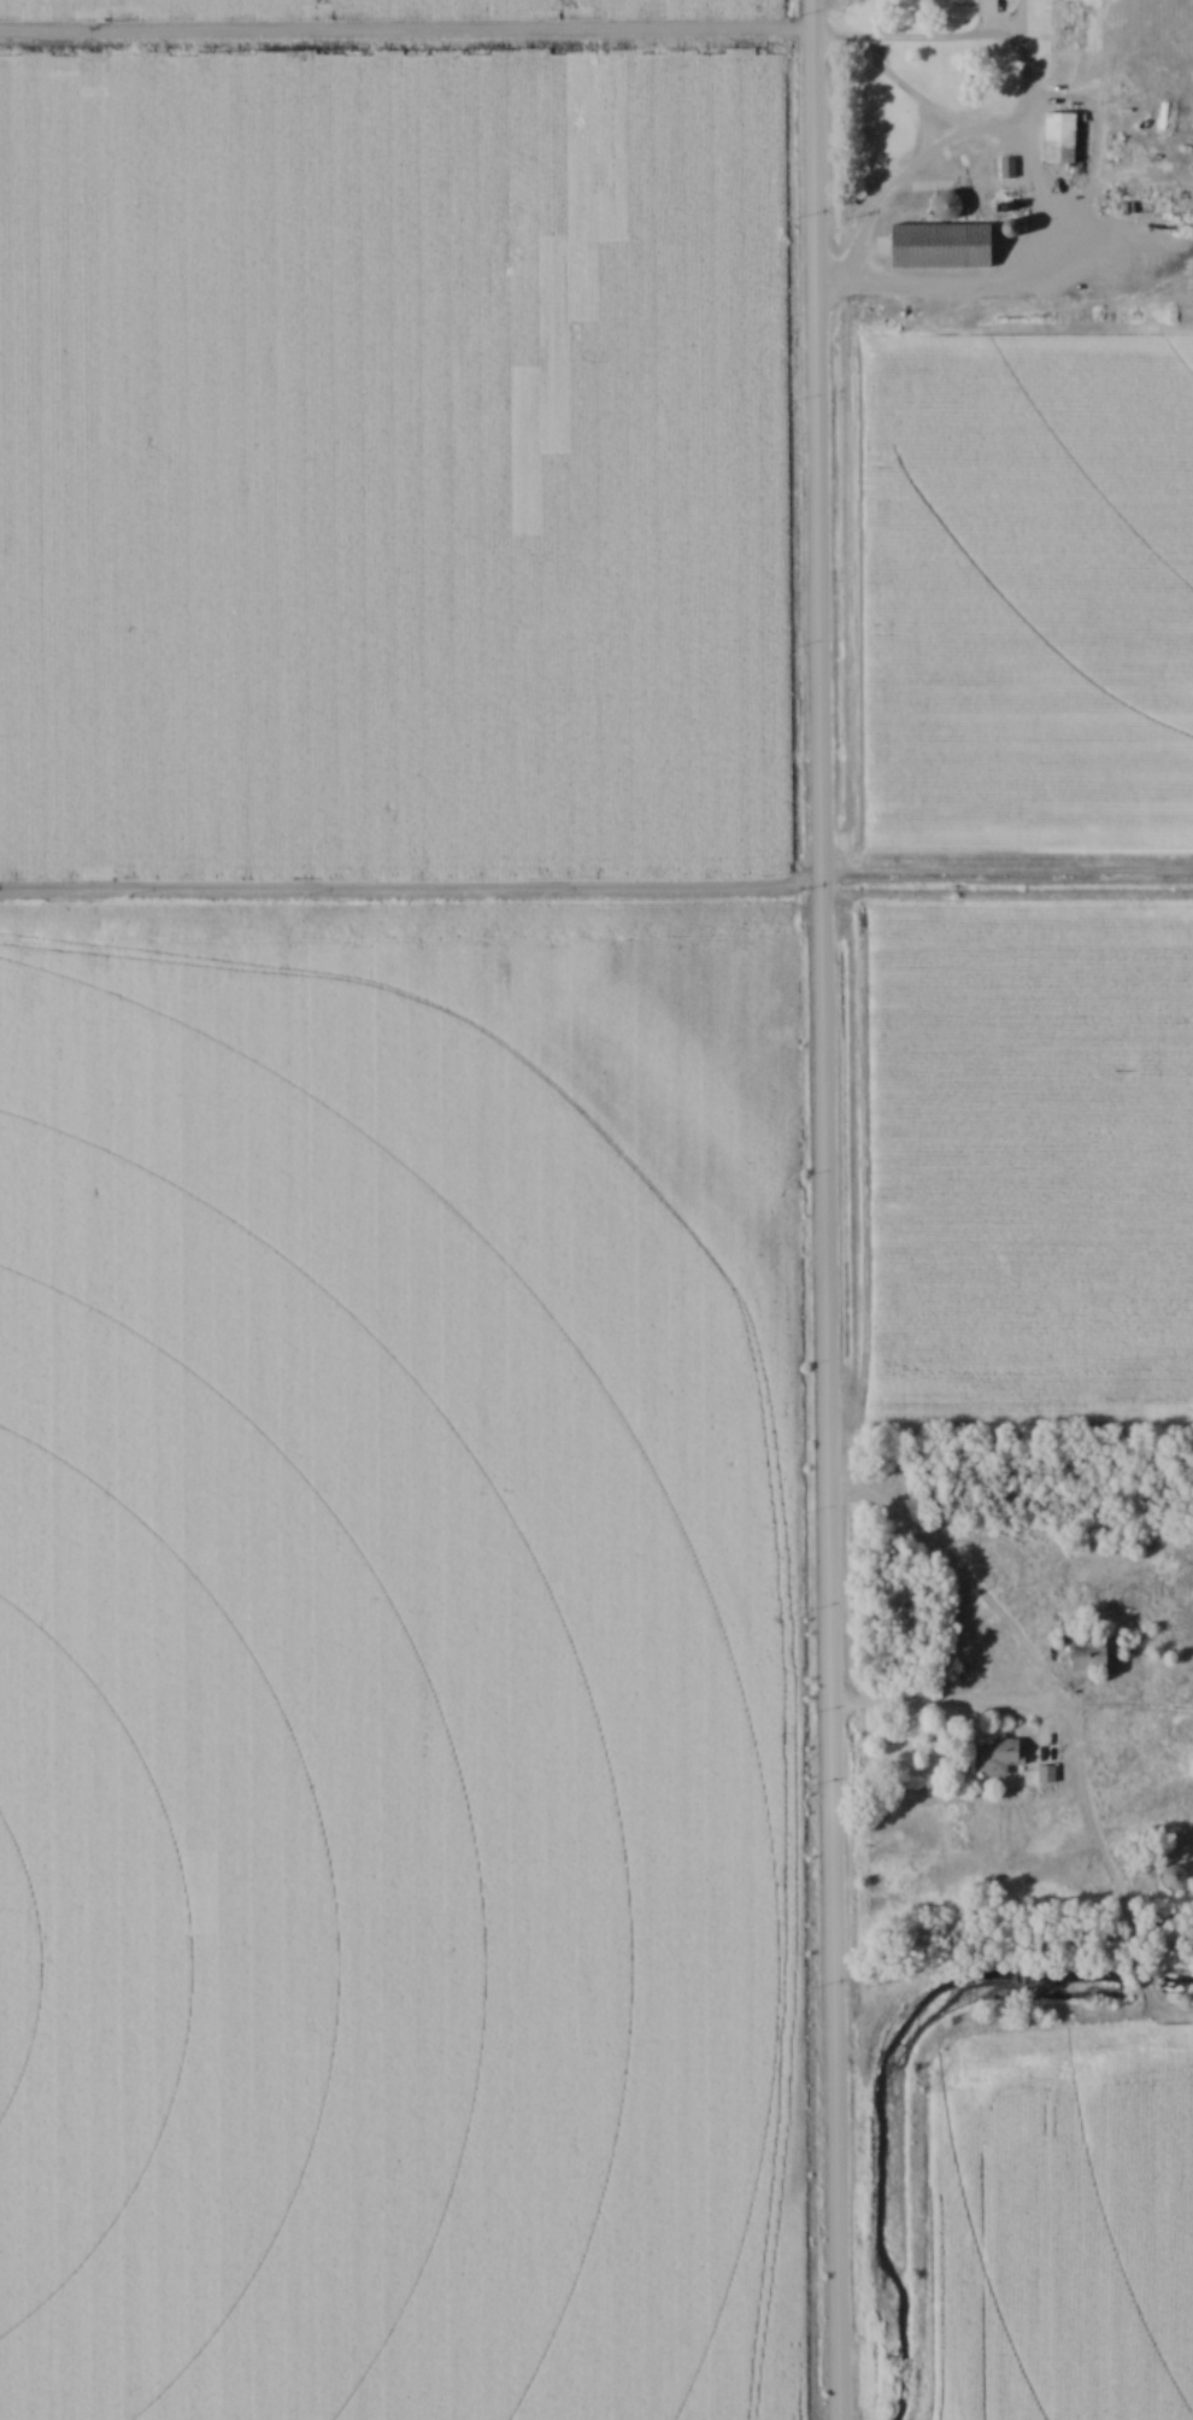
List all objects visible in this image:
road: (422, 36)
road: (972, 43)
building: (1059, 139)
building: (966, 152)
building: (946, 207)
building: (941, 247)
road: (823, 1209)
building: (1095, 1653)
road: (951, 1703)
building: (994, 1758)
road: (1106, 1862)
building: (1174, 1877)

